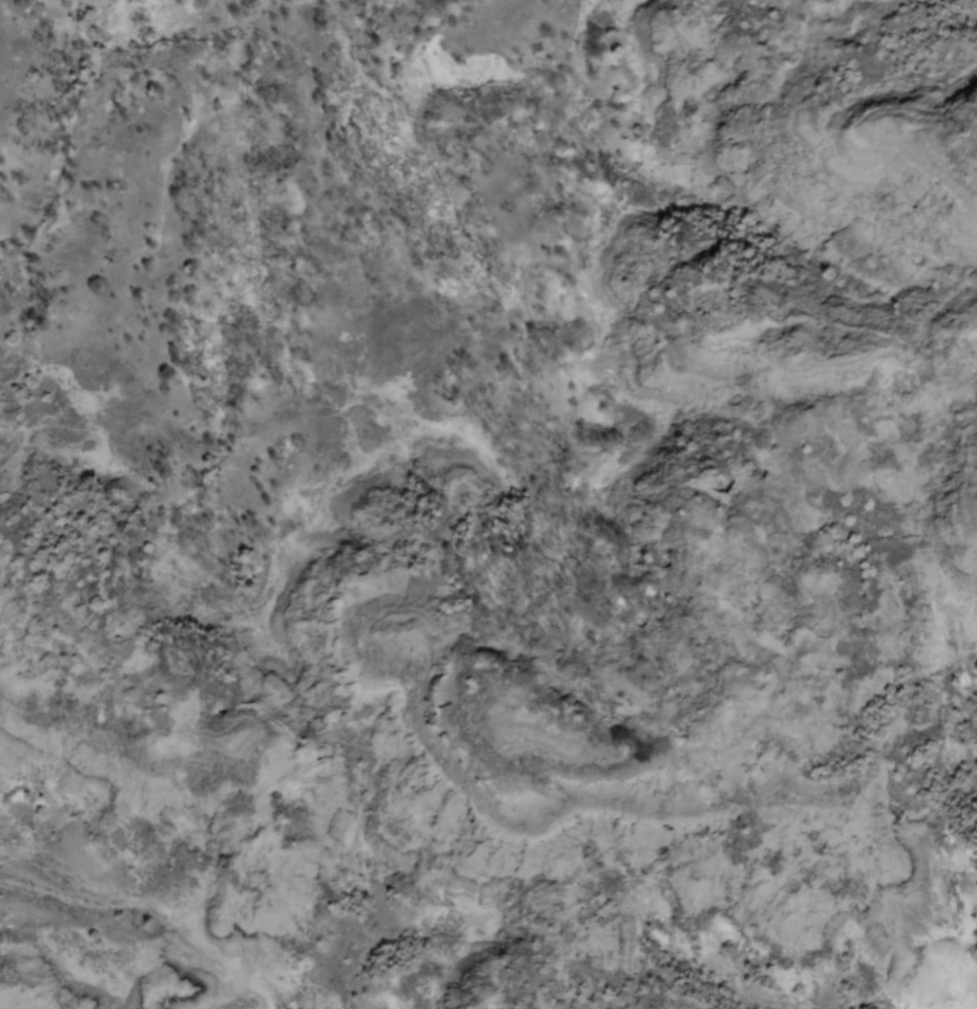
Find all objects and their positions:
road: (153, 909)

